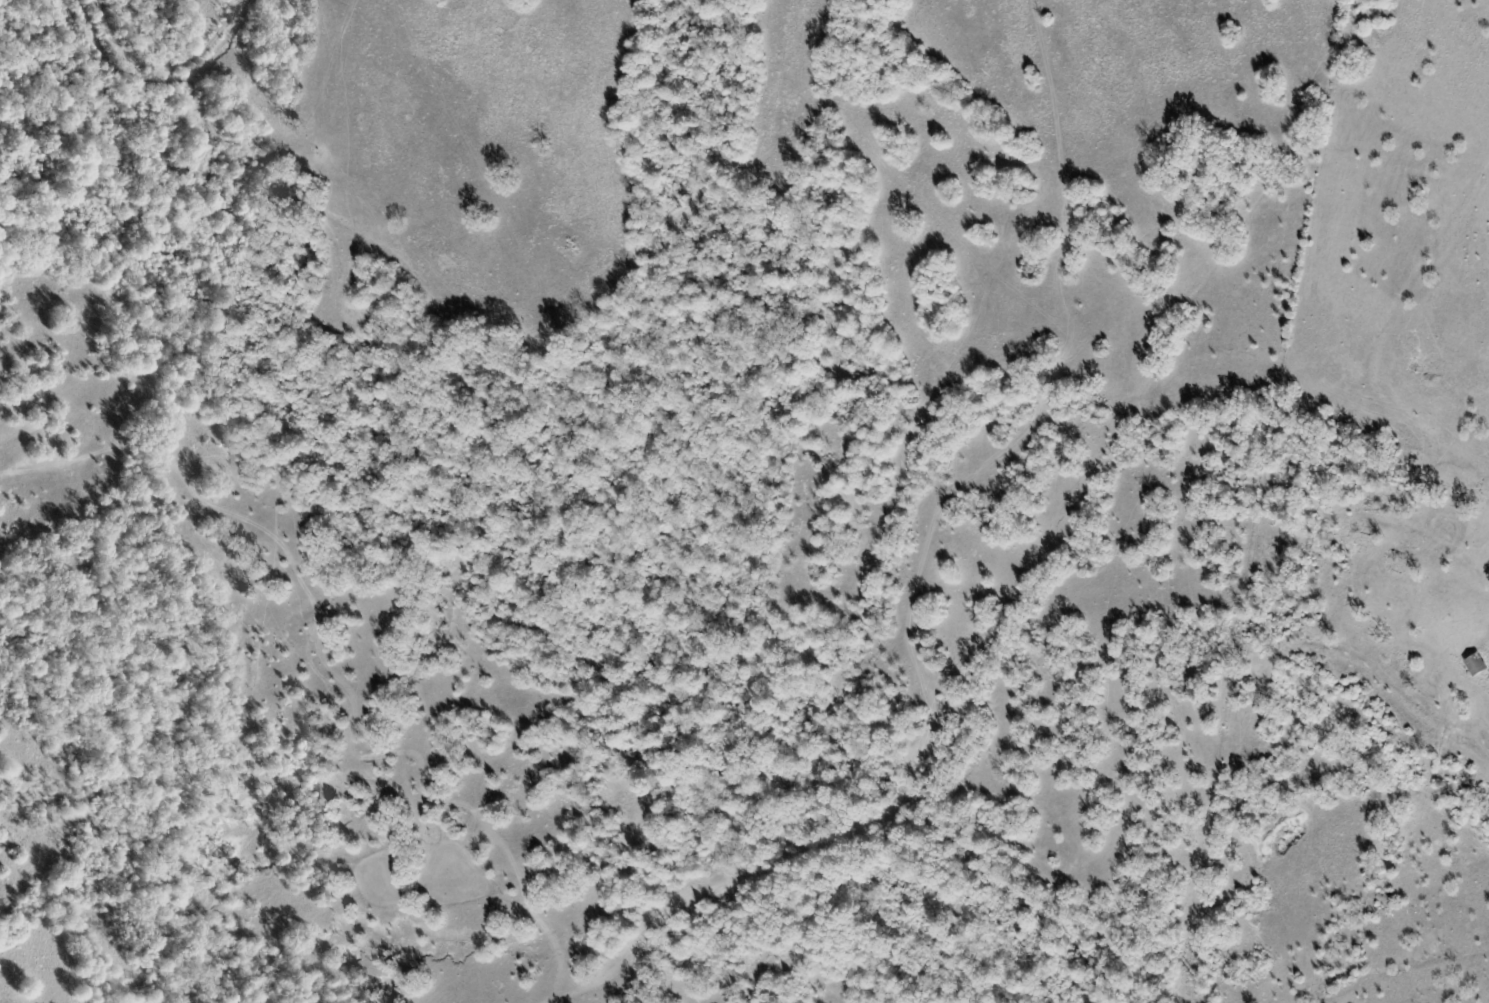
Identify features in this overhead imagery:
building: (1478, 666)

